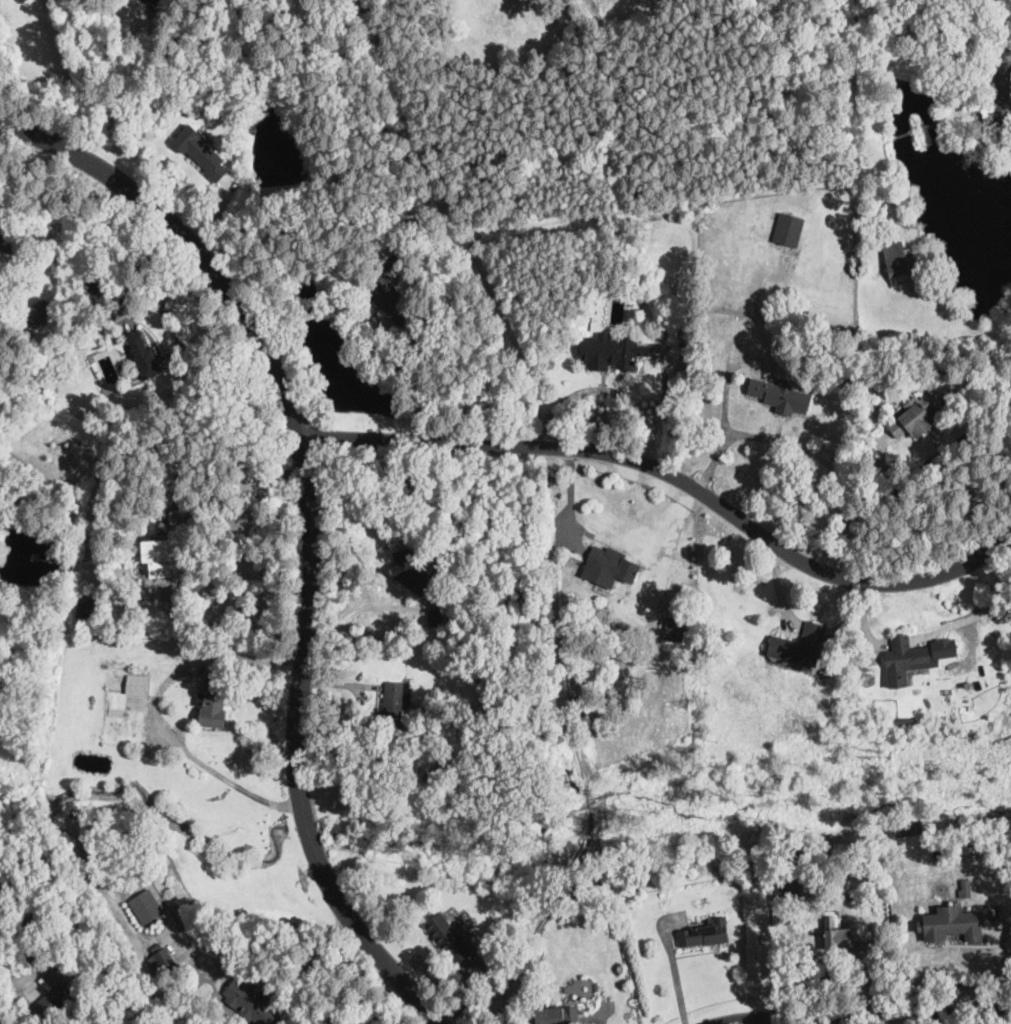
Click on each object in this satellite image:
building: (998, 95)
building: (197, 113)
building: (201, 152)
building: (389, 211)
building: (787, 235)
building: (6, 239)
building: (899, 262)
road: (152, 285)
building: (92, 289)
building: (388, 296)
building: (38, 310)
building: (588, 325)
building: (30, 328)
building: (648, 336)
building: (675, 350)
building: (611, 352)
building: (143, 354)
building: (779, 396)
road: (725, 409)
building: (915, 417)
road: (829, 465)
building: (42, 467)
road: (674, 477)
road: (571, 496)
road: (311, 526)
building: (138, 549)
building: (165, 551)
building: (146, 568)
building: (608, 568)
building: (408, 572)
building: (84, 608)
building: (435, 616)
building: (605, 618)
building: (674, 630)
building: (585, 631)
building: (596, 642)
building: (800, 646)
building: (595, 653)
building: (903, 660)
building: (707, 681)
building: (580, 694)
building: (214, 699)
building: (395, 706)
building: (126, 711)
road: (158, 712)
building: (906, 721)
building: (496, 772)
building: (73, 867)
building: (786, 887)
building: (965, 889)
building: (146, 905)
building: (454, 913)
building: (951, 924)
building: (704, 935)
building: (842, 937)
building: (448, 938)
road: (264, 944)
building: (165, 960)
road: (675, 974)
building: (60, 996)
building: (113, 1000)
building: (249, 1003)
building: (46, 1008)
road: (869, 1012)
building: (558, 1016)

